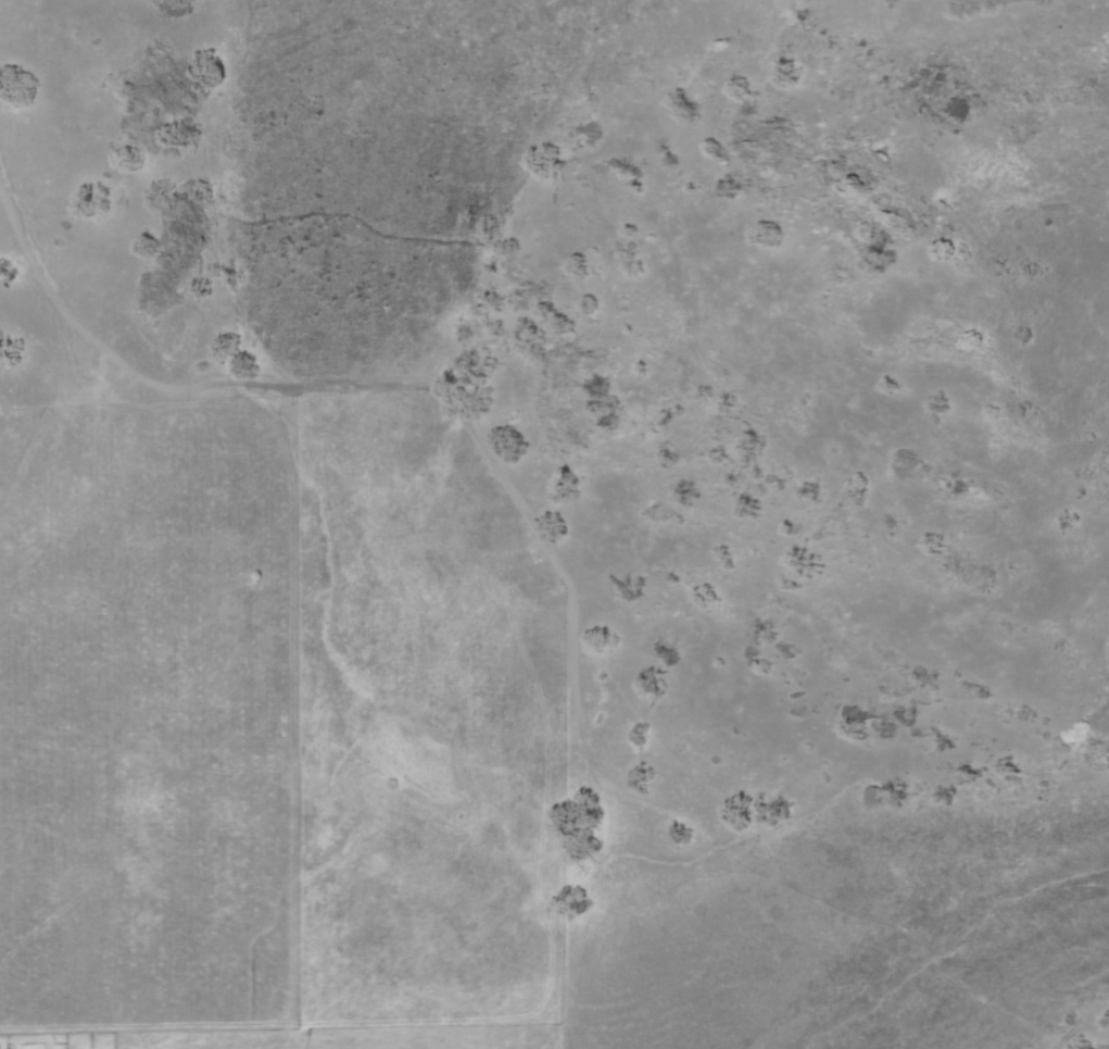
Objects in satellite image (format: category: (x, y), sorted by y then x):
road: (492, 448)
crop: (574, 750)
road: (1086, 1023)

